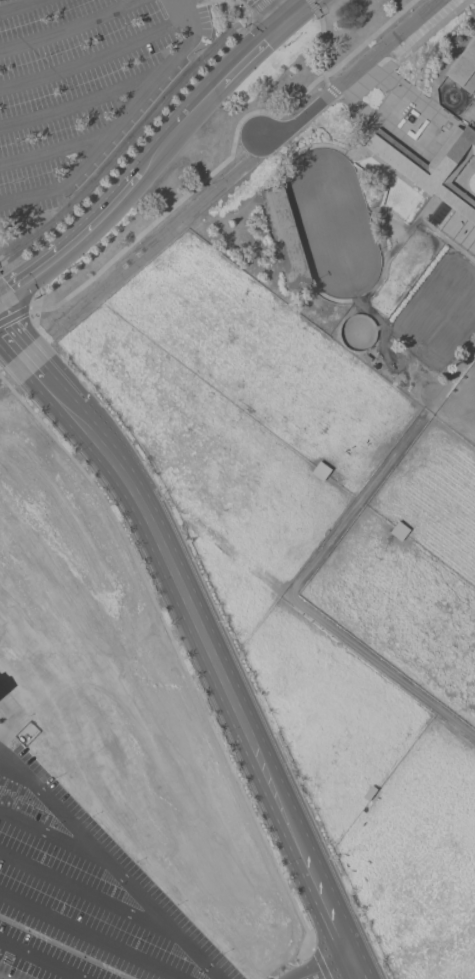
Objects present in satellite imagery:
road: (182, 2)
road: (207, 3)
road: (16, 4)
road: (242, 6)
road: (313, 6)
road: (282, 7)
road: (255, 8)
road: (265, 12)
road: (67, 29)
road: (426, 36)
road: (368, 38)
road: (321, 48)
road: (95, 58)
building: (464, 67)
road: (350, 73)
parking lot: (79, 85)
road: (362, 86)
road: (332, 91)
road: (414, 95)
road: (77, 103)
road: (389, 105)
fountain: (410, 119)
road: (120, 120)
road: (381, 125)
road: (428, 130)
road: (156, 149)
road: (52, 150)
building: (432, 167)
road: (184, 194)
road: (165, 233)
building: (285, 237)
road: (14, 314)
road: (55, 315)
road: (12, 341)
road: (381, 471)
building: (5, 589)
building: (28, 624)
road: (211, 655)
road: (381, 666)
road: (12, 719)
road: (47, 837)
road: (110, 869)
road: (83, 894)
road: (81, 939)
street lamp: (31, 956)
road: (37, 961)
street lamp: (2, 962)
road: (323, 967)
parking lot: (12, 972)

